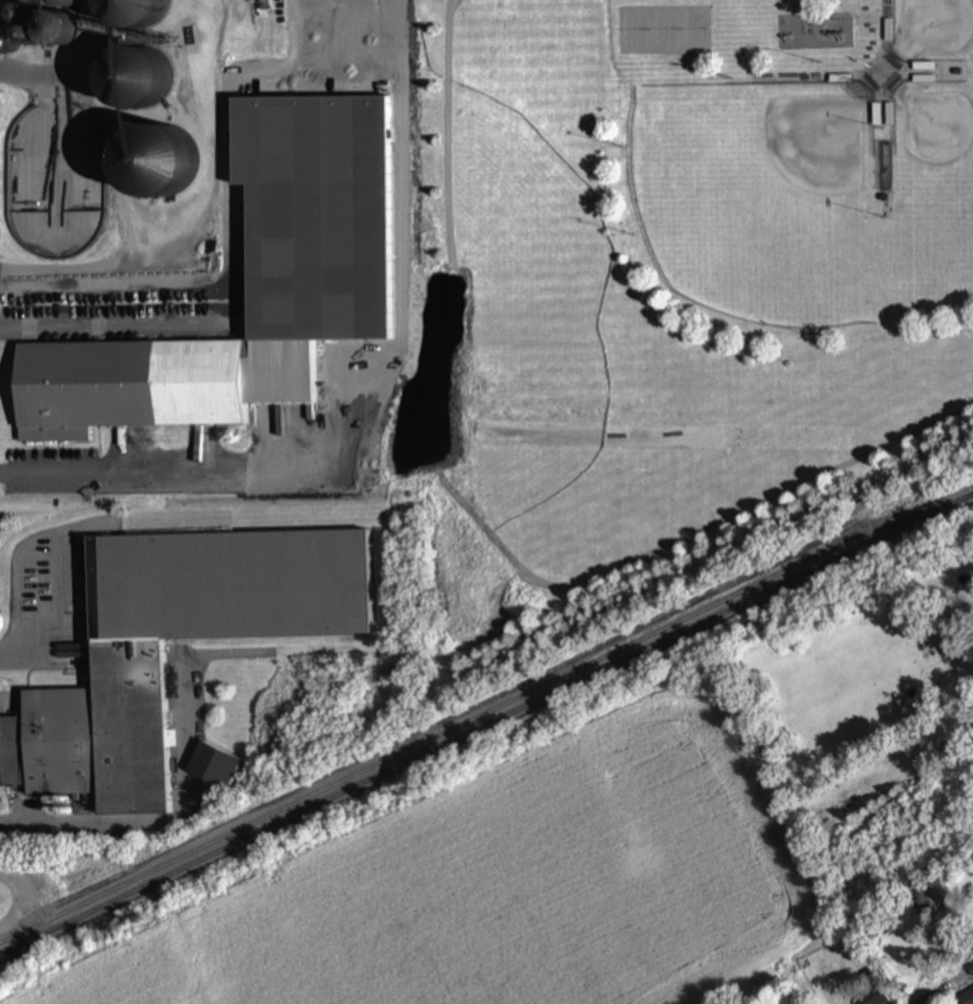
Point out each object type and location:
building: (38, 34)
building: (1, 41)
building: (134, 80)
park: (671, 297)
building: (126, 386)
road: (275, 400)
road: (14, 656)
building: (129, 666)
railway: (484, 714)
railway: (486, 723)
road: (146, 825)
building: (930, 899)
building: (966, 996)
building: (871, 997)

